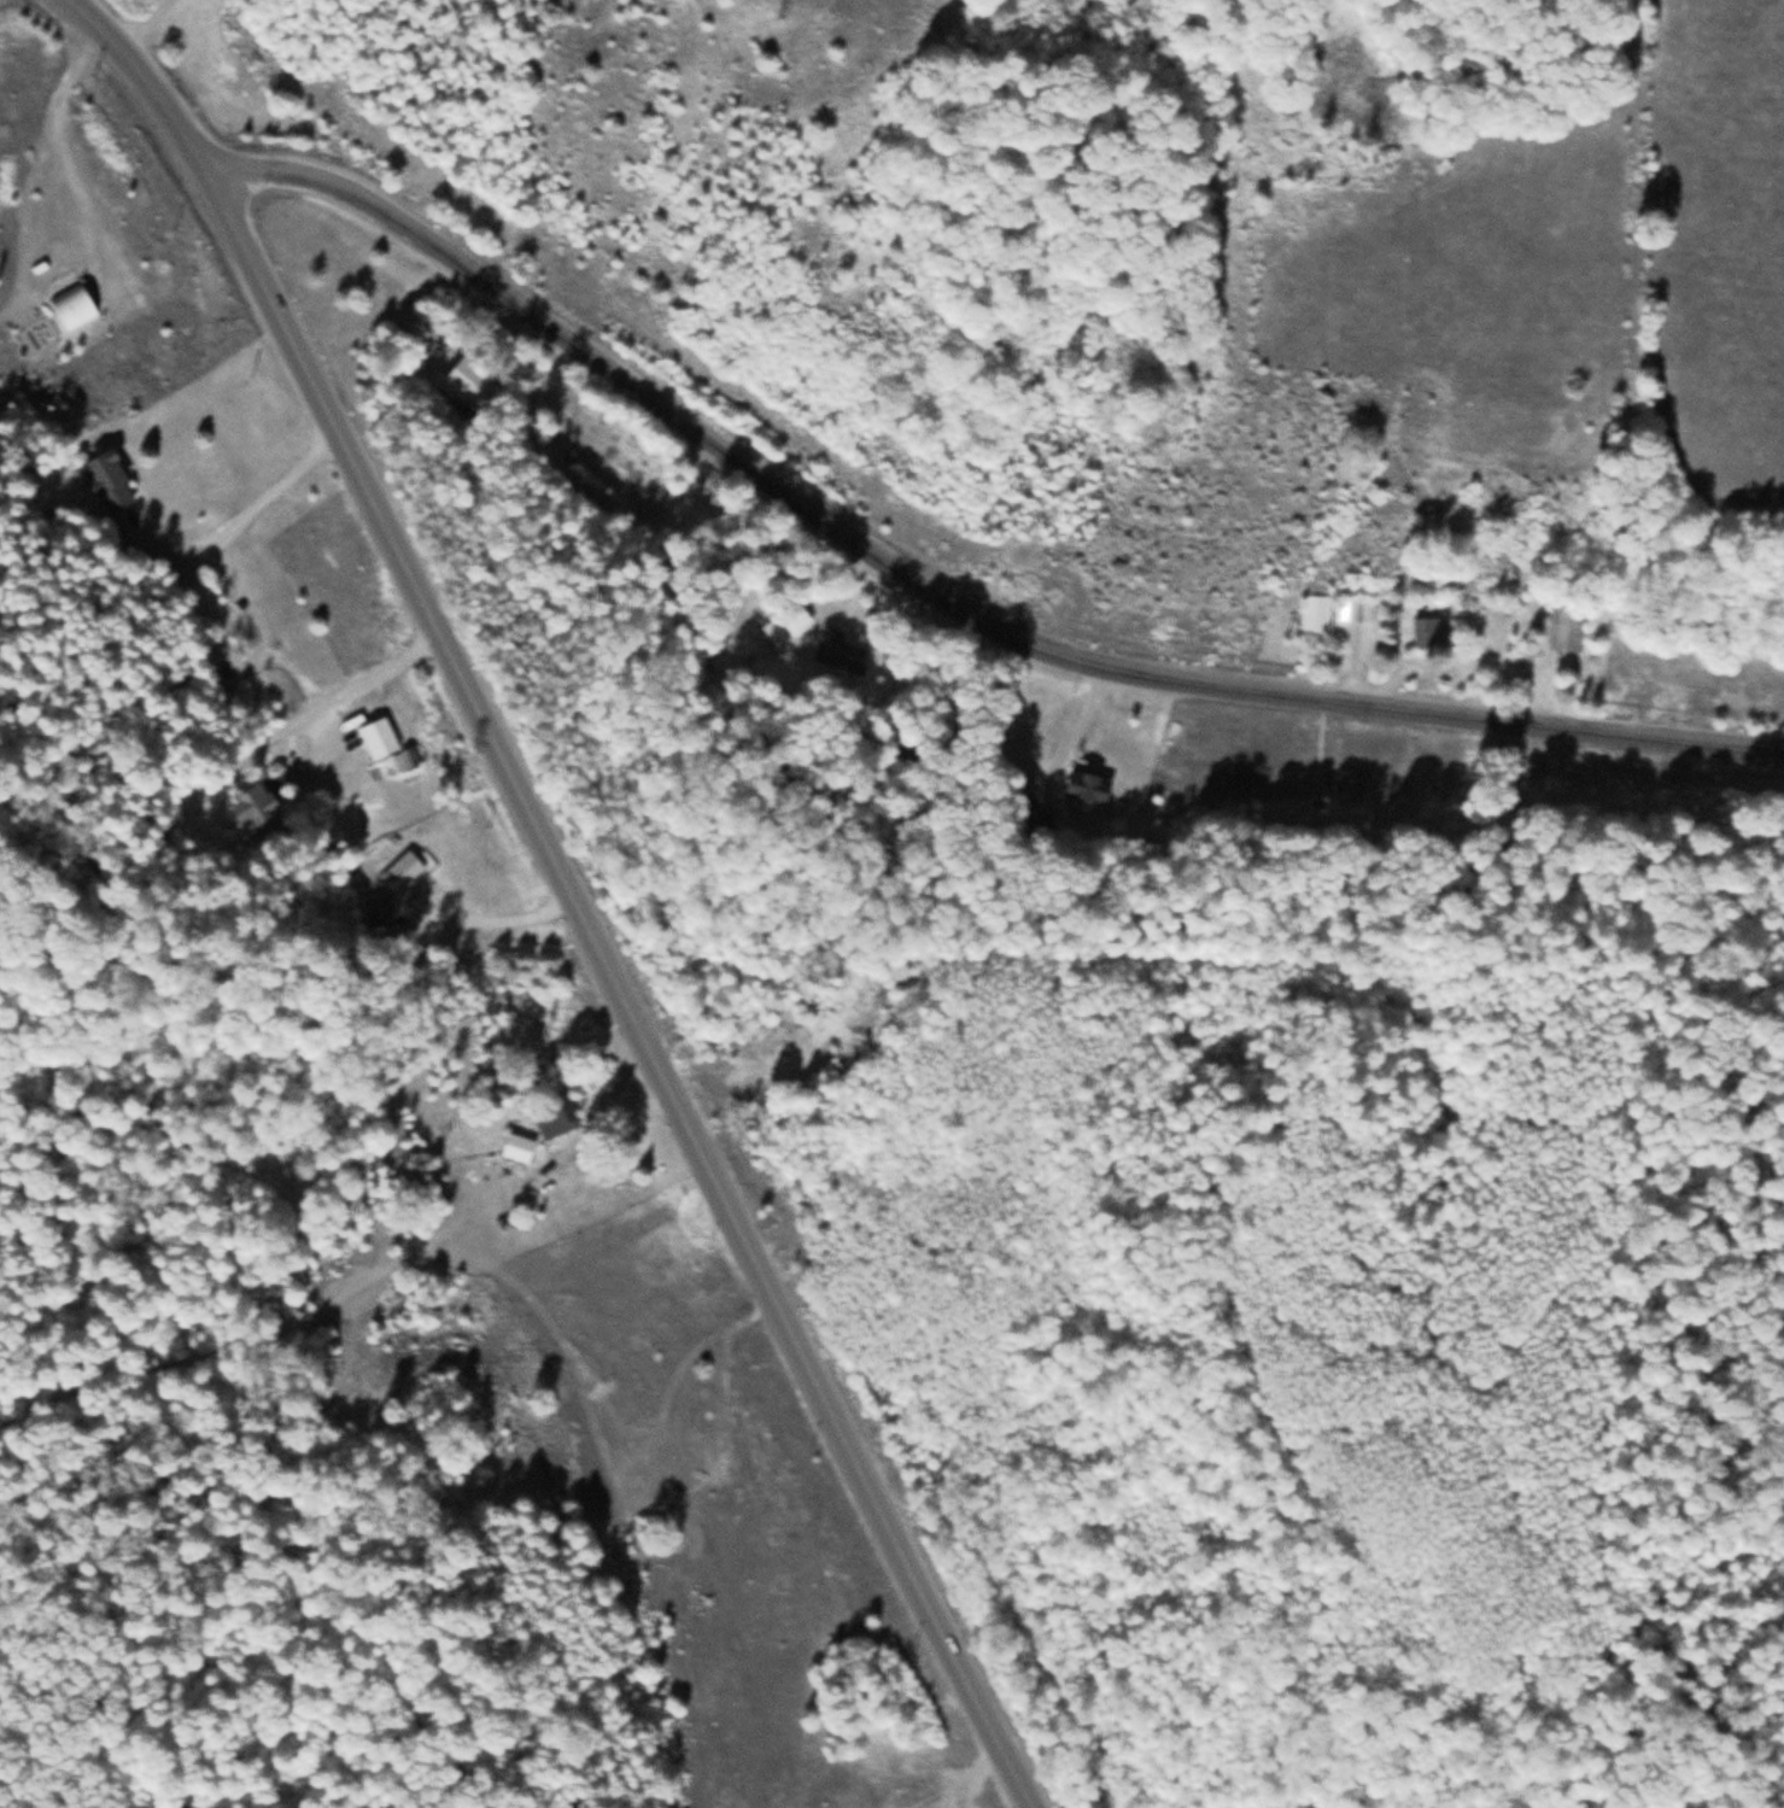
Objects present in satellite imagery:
building: (72, 305)
building: (468, 376)
building: (607, 460)
building: (109, 480)
road: (944, 598)
building: (1314, 614)
building: (785, 624)
building: (1428, 628)
building: (1558, 628)
building: (838, 650)
building: (378, 736)
building: (1086, 786)
building: (256, 806)
building: (1034, 819)
building: (1152, 850)
building: (403, 870)
road: (572, 891)
building: (382, 911)
building: (556, 1112)

